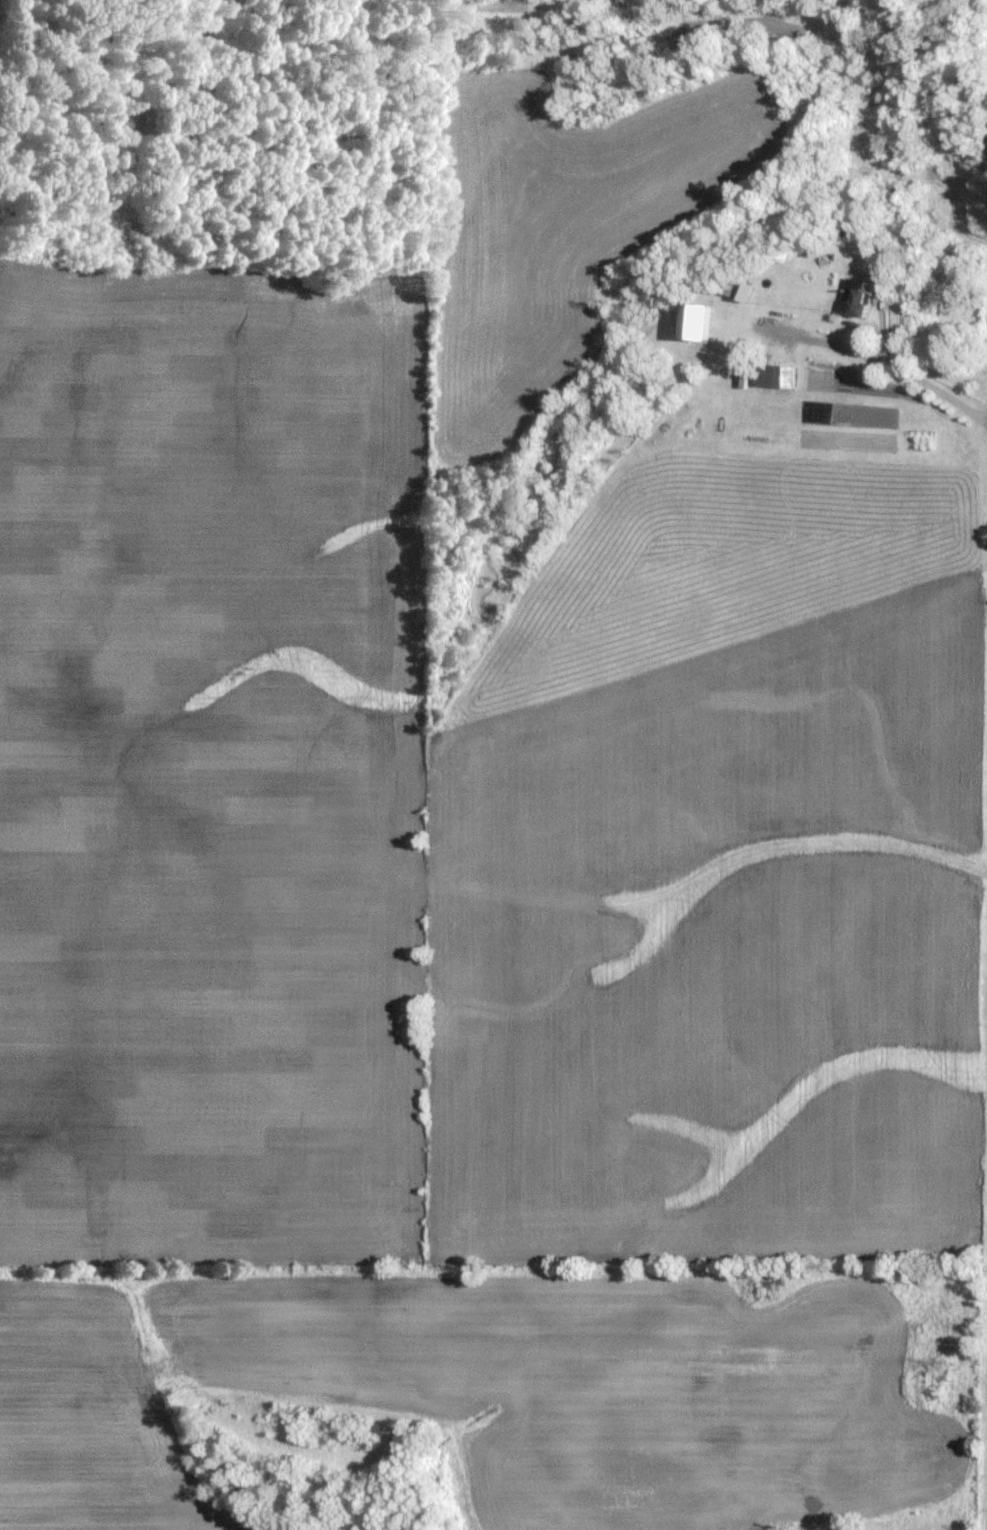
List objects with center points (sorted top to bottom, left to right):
building: (870, 295)
building: (699, 324)
road: (882, 354)
building: (775, 378)

